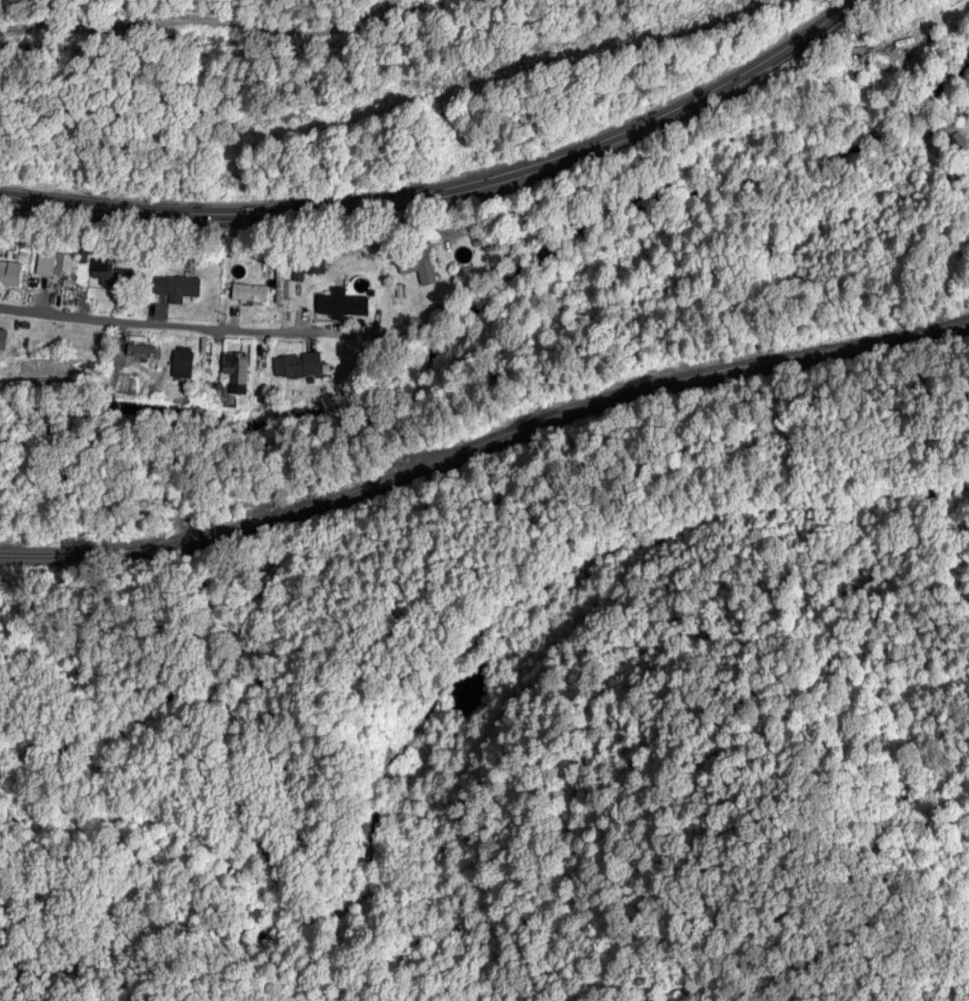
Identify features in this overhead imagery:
road: (203, 20)
building: (913, 55)
road: (455, 188)
building: (52, 264)
building: (420, 267)
building: (112, 275)
building: (5, 276)
building: (280, 285)
building: (179, 289)
building: (252, 294)
building: (346, 308)
road: (186, 327)
building: (5, 341)
building: (141, 352)
building: (185, 364)
building: (298, 367)
building: (237, 370)
railway: (484, 444)

